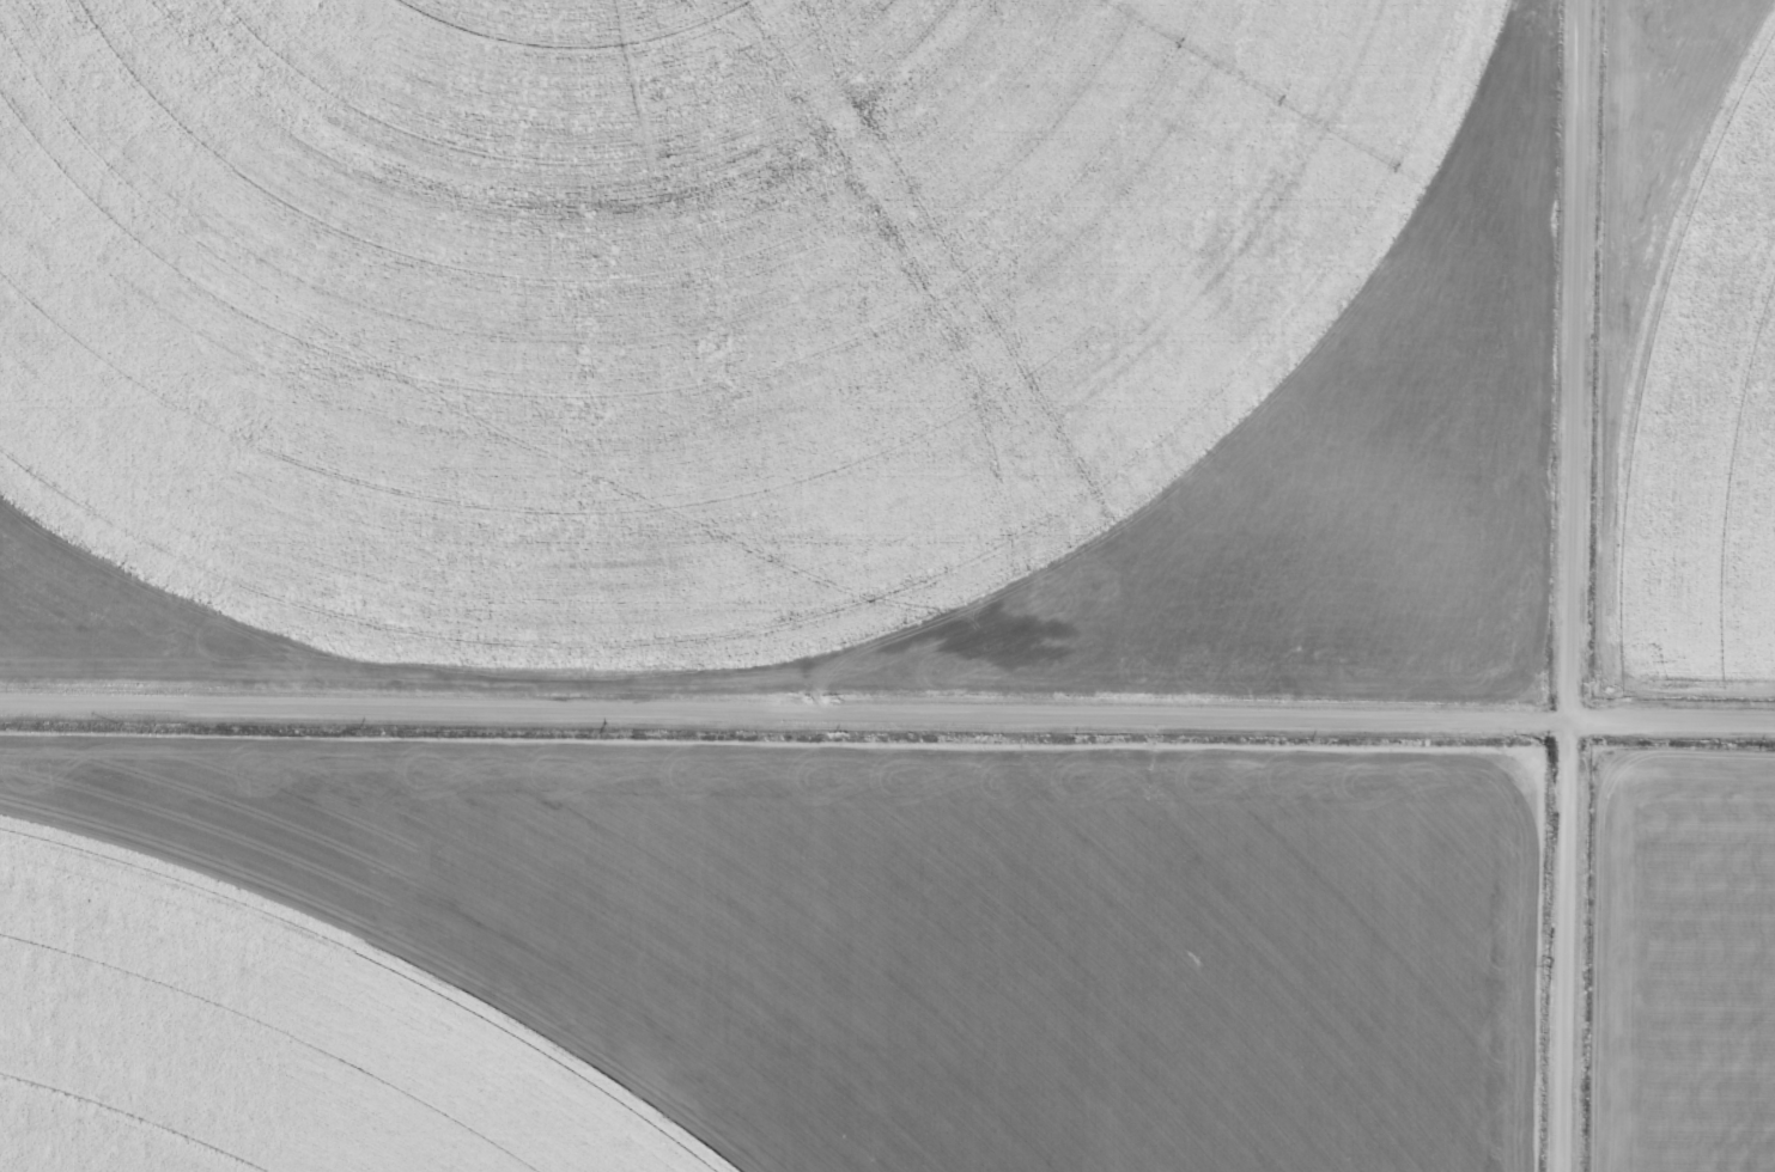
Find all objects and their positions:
road: (1572, 585)
road: (887, 715)
crop: (1708, 966)

